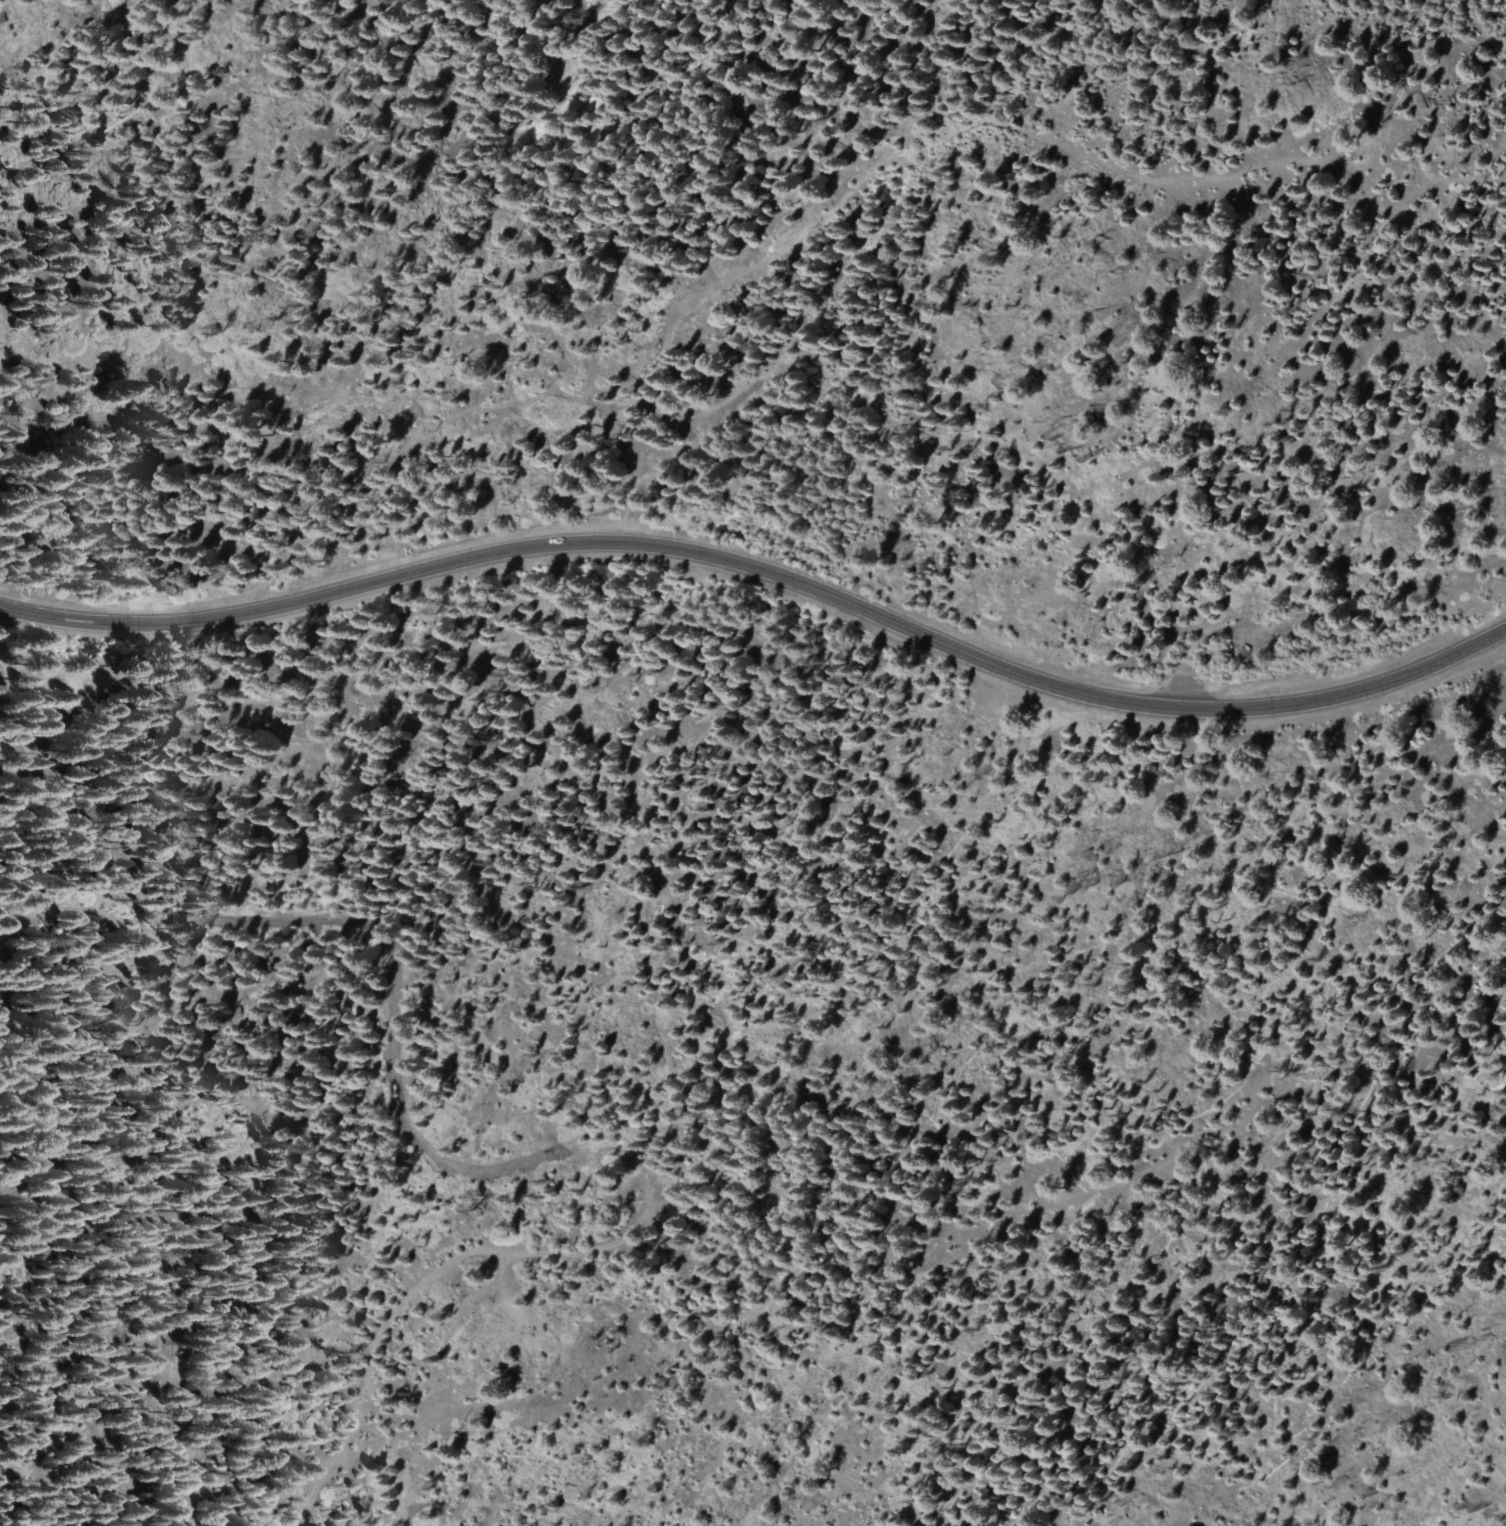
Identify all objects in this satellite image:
road: (765, 572)
road: (518, 1164)

